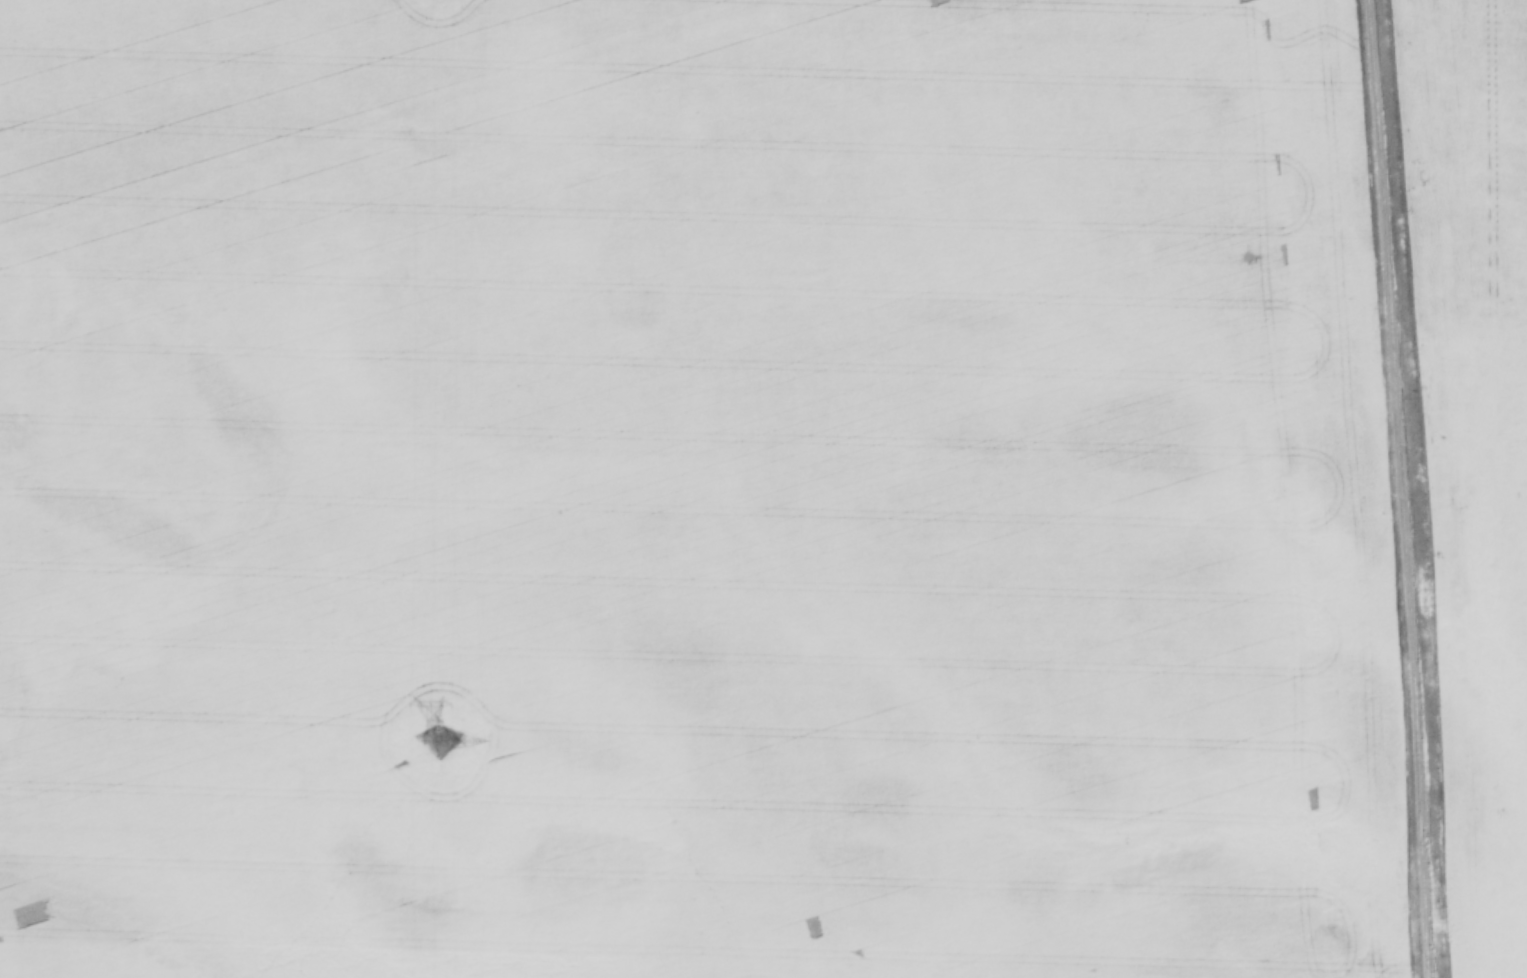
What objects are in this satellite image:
road: (1390, 489)
power tower: (439, 738)

